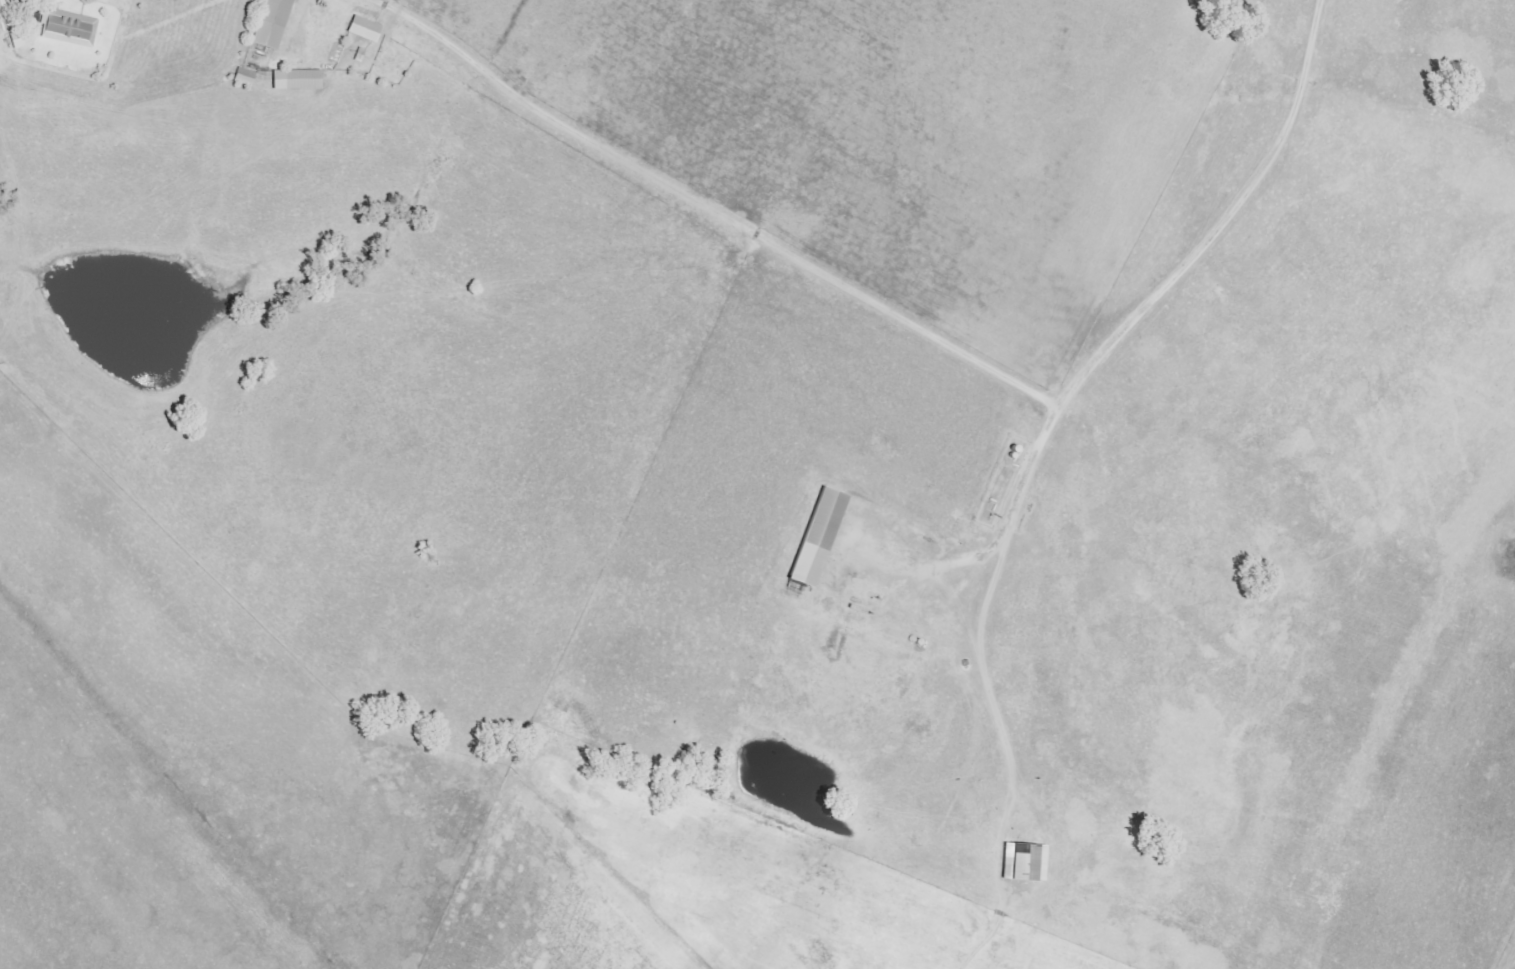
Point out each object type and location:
building: (68, 28)
building: (364, 29)
building: (243, 77)
building: (296, 80)
road: (710, 210)
road: (1043, 452)
building: (818, 536)
building: (1024, 862)

